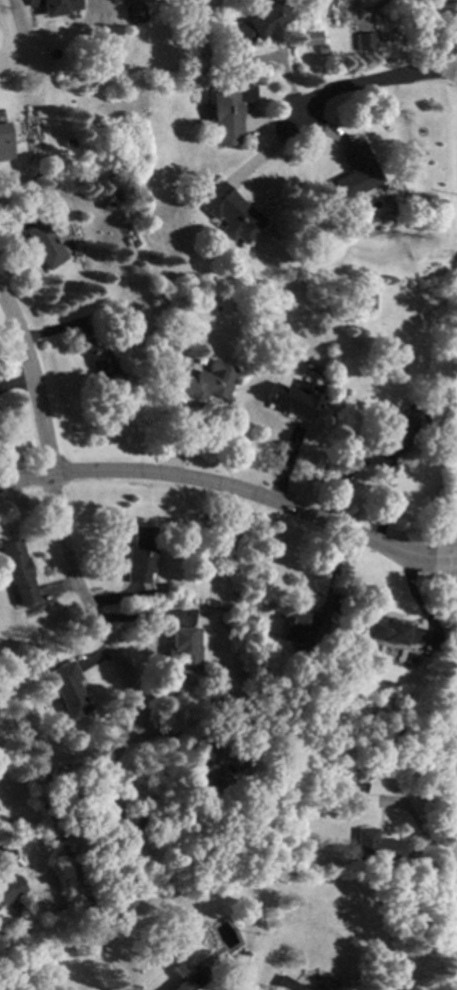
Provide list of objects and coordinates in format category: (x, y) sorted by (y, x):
building: (127, 1)
building: (55, 6)
road: (373, 10)
building: (229, 23)
building: (255, 24)
building: (309, 38)
building: (361, 41)
building: (318, 49)
road: (369, 84)
building: (227, 113)
building: (4, 141)
building: (352, 171)
building: (105, 206)
building: (228, 214)
building: (43, 244)
building: (99, 362)
building: (179, 369)
road: (34, 381)
building: (207, 382)
building: (293, 399)
building: (398, 430)
road: (232, 490)
building: (140, 554)
building: (16, 572)
road: (87, 603)
building: (304, 628)
building: (392, 632)
building: (184, 651)
building: (411, 659)
building: (67, 690)
building: (375, 785)
building: (200, 787)
building: (350, 797)
building: (138, 832)
building: (374, 847)
building: (10, 889)
building: (193, 981)
building: (283, 985)

